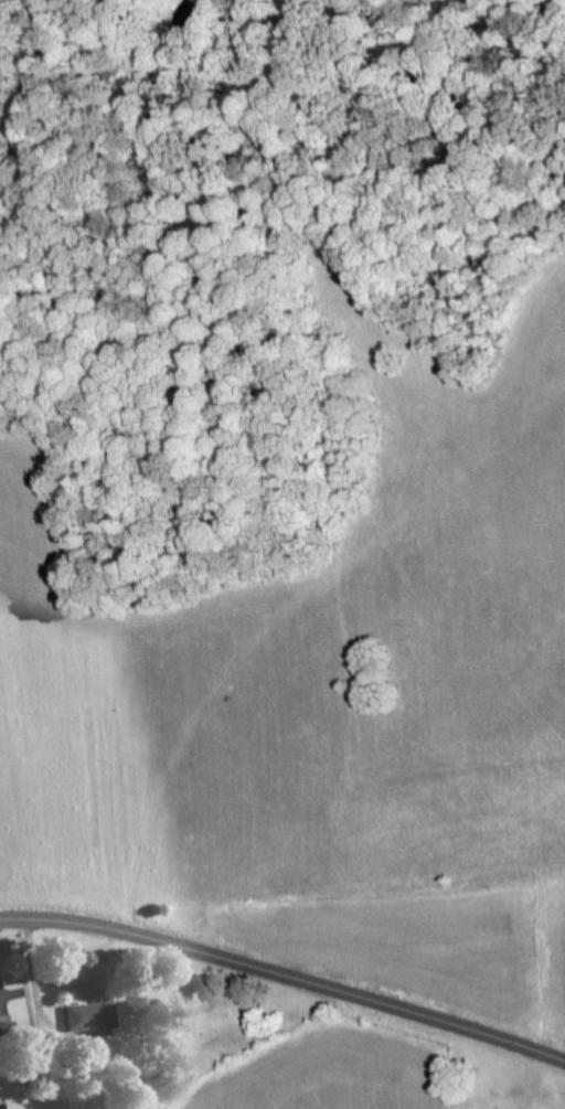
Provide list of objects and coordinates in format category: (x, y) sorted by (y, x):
road: (285, 978)
building: (89, 1016)
building: (7, 1033)

